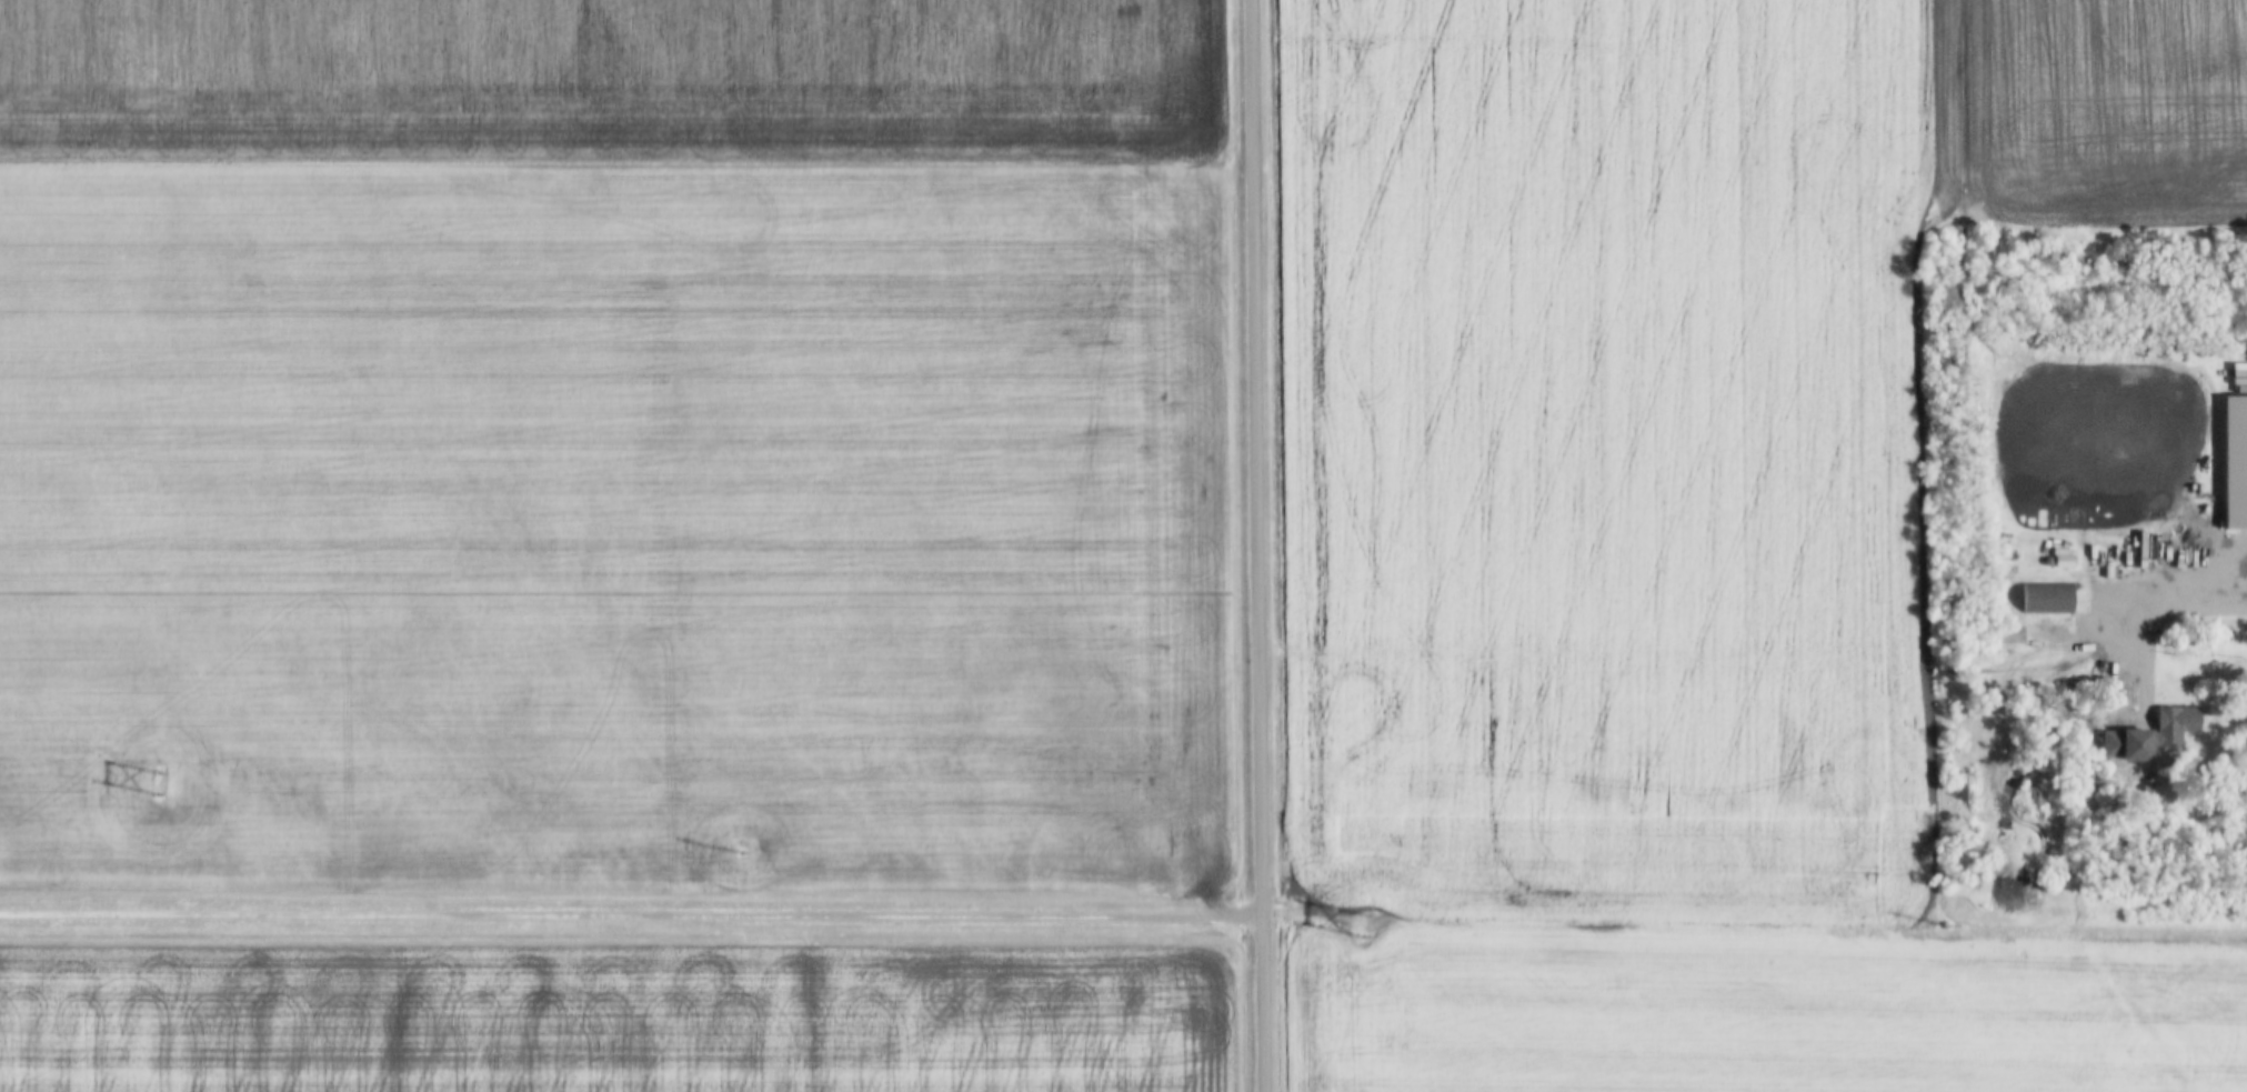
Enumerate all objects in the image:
road: (1251, 461)
building: (2235, 463)
building: (2046, 598)
road: (2211, 617)
building: (2175, 720)
power tower: (157, 799)
power tower: (736, 851)
power tower: (1364, 913)
road: (631, 920)
power tower: (1950, 931)
road: (1263, 1006)

